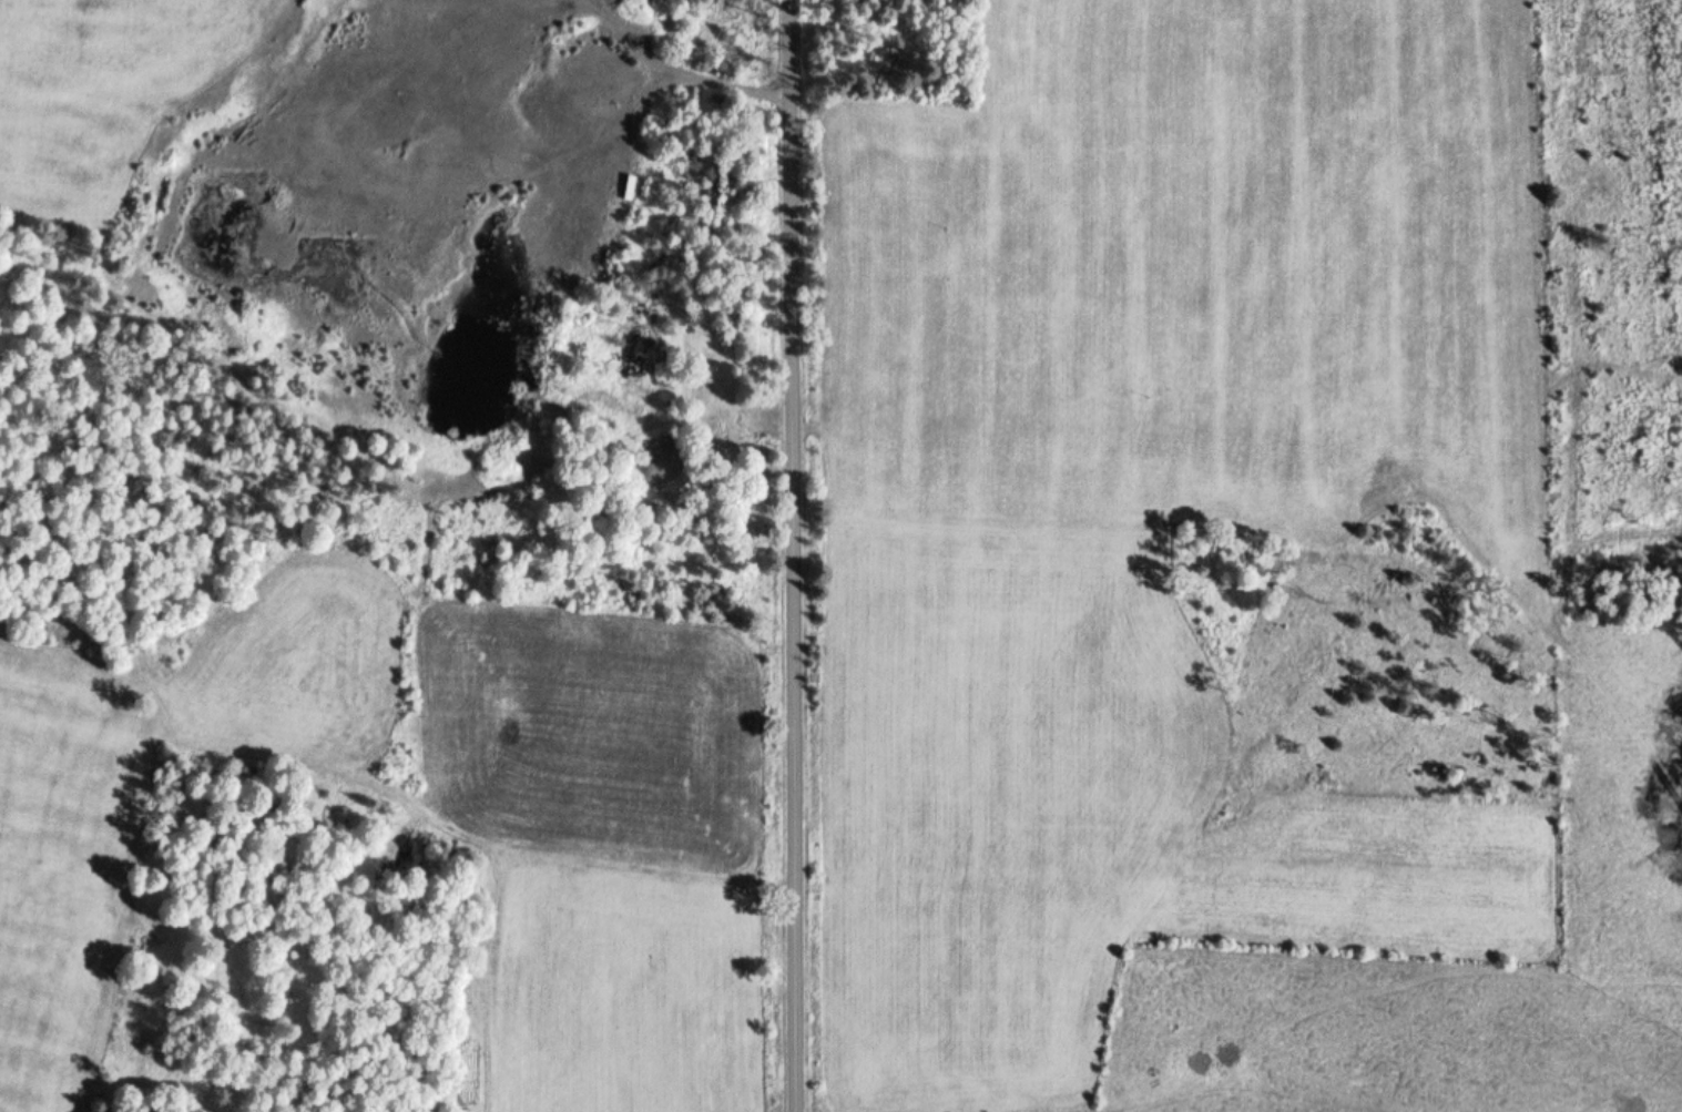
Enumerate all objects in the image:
road: (795, 555)

